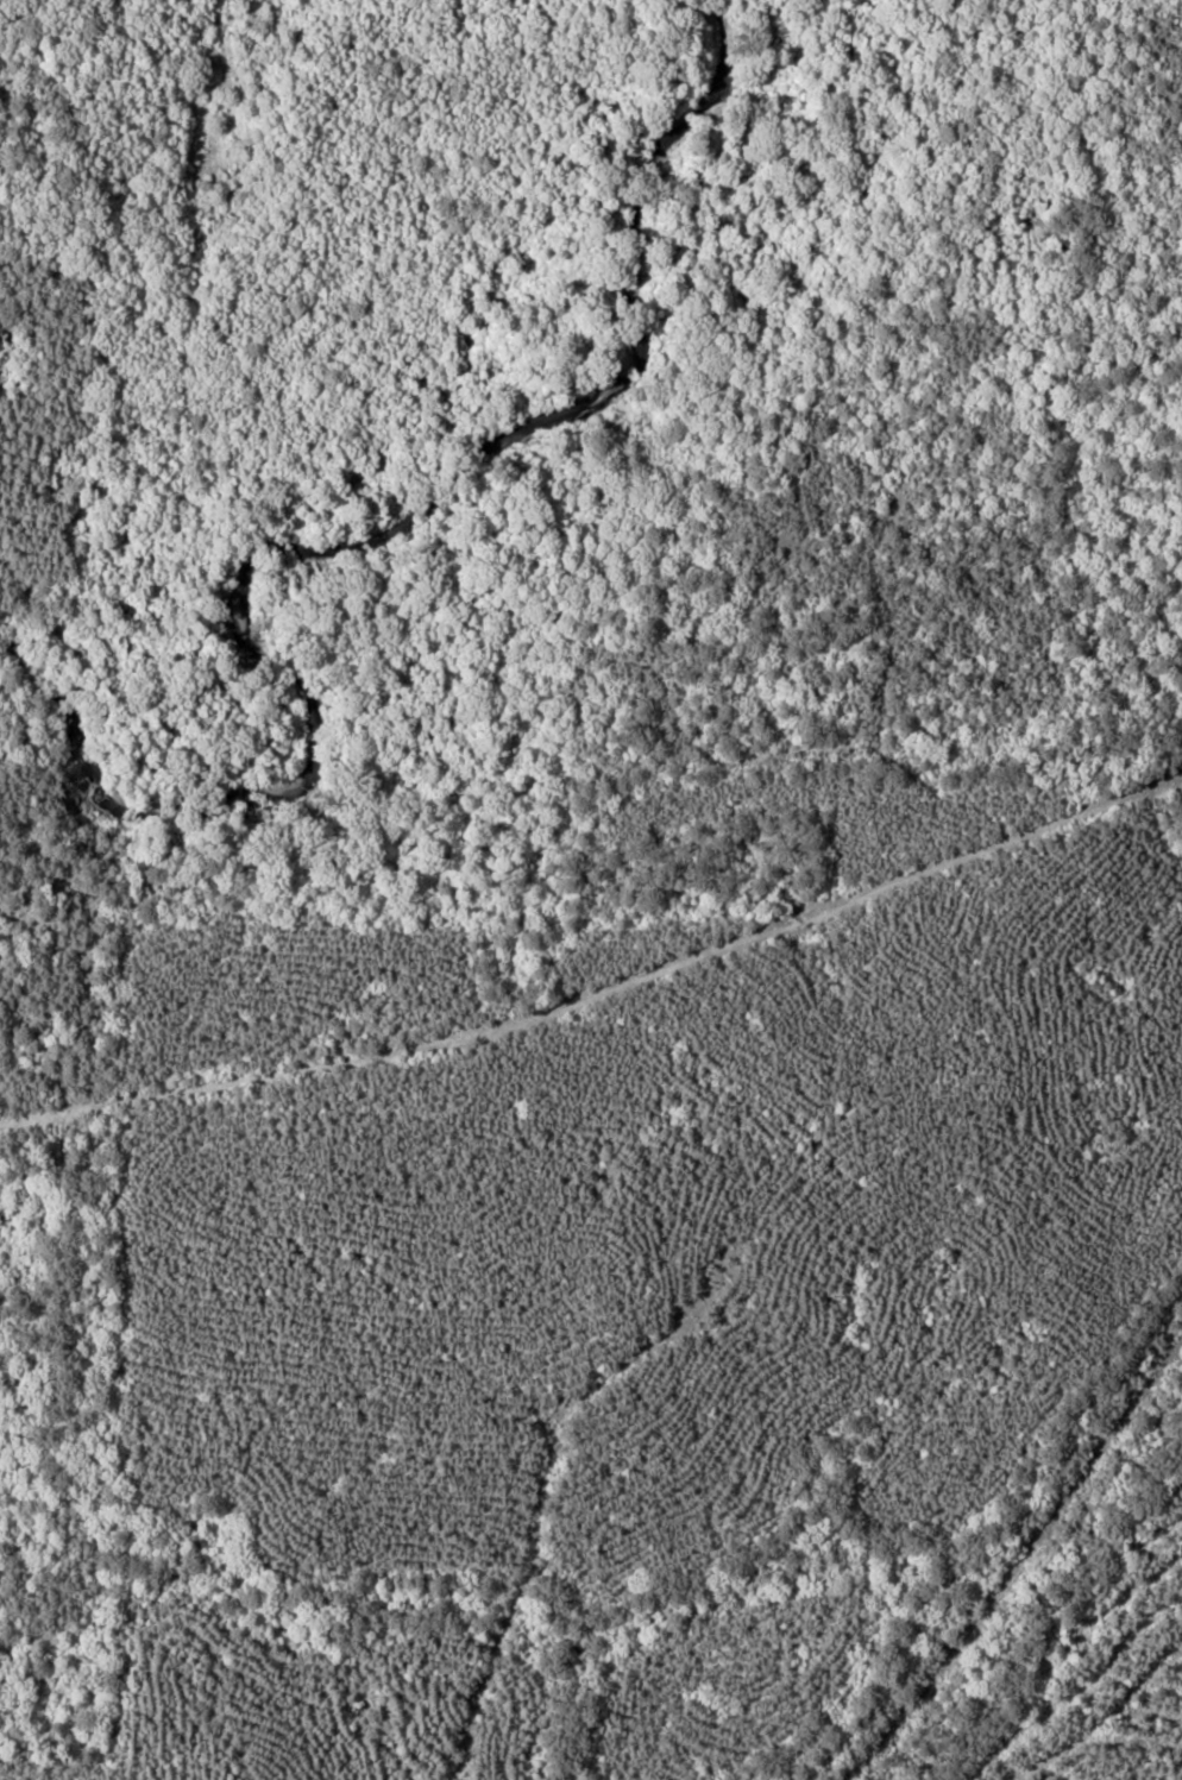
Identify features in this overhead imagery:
railway: (1018, 1564)

